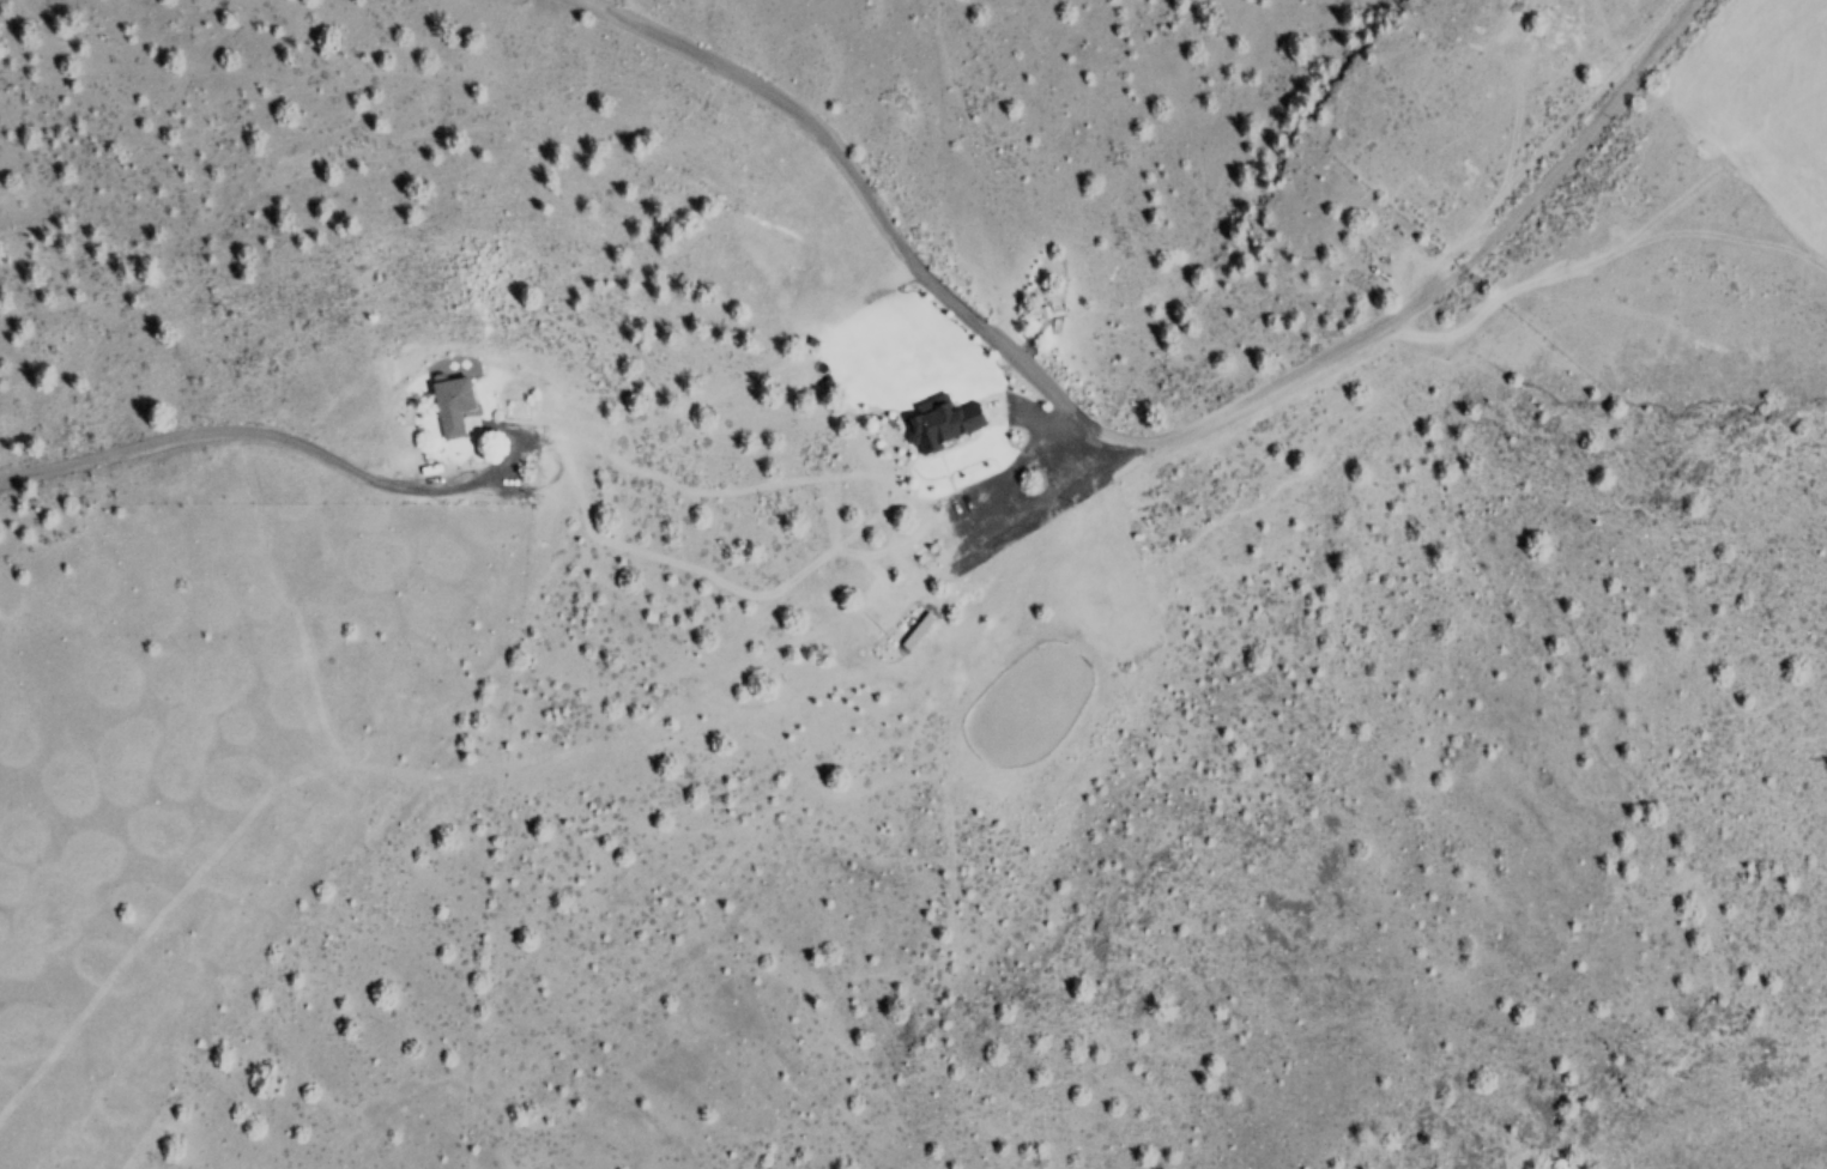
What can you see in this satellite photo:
road: (243, 432)
road: (1131, 438)

